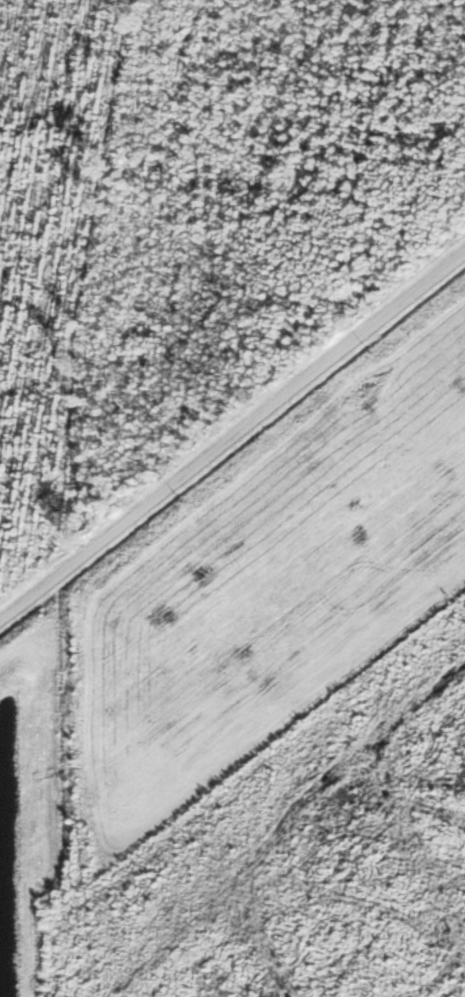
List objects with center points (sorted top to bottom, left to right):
road: (232, 431)

